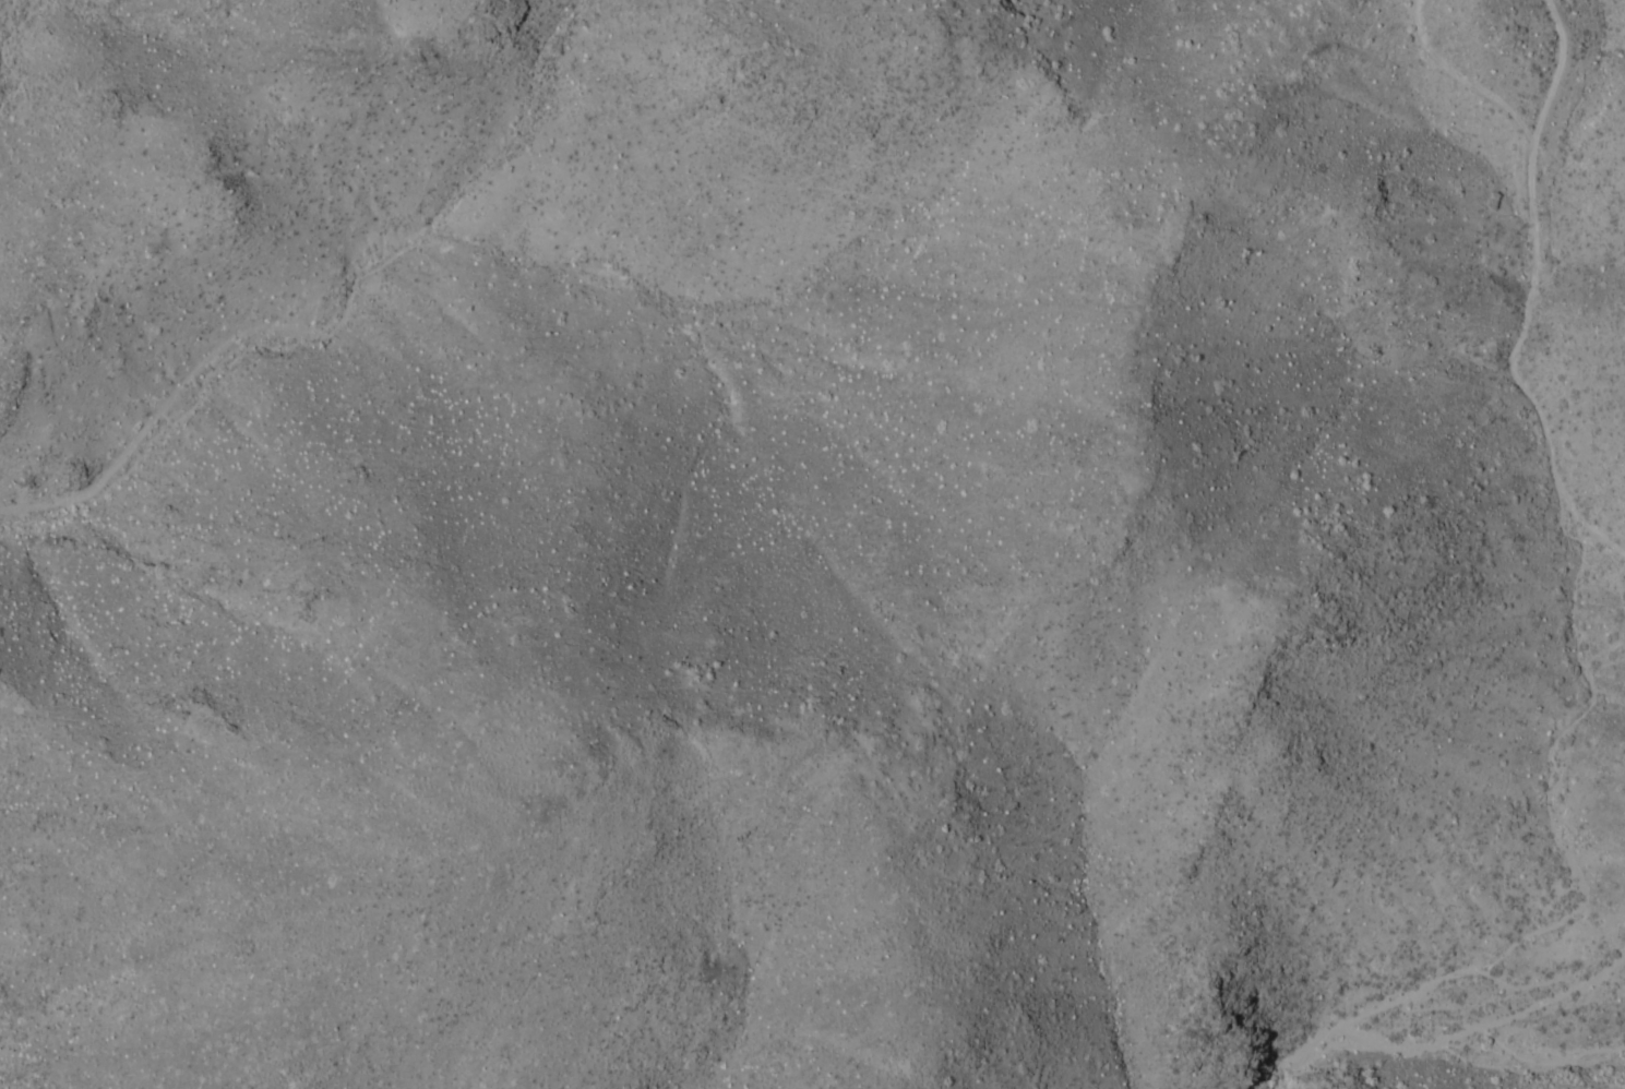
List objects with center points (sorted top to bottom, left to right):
road: (1526, 279)

